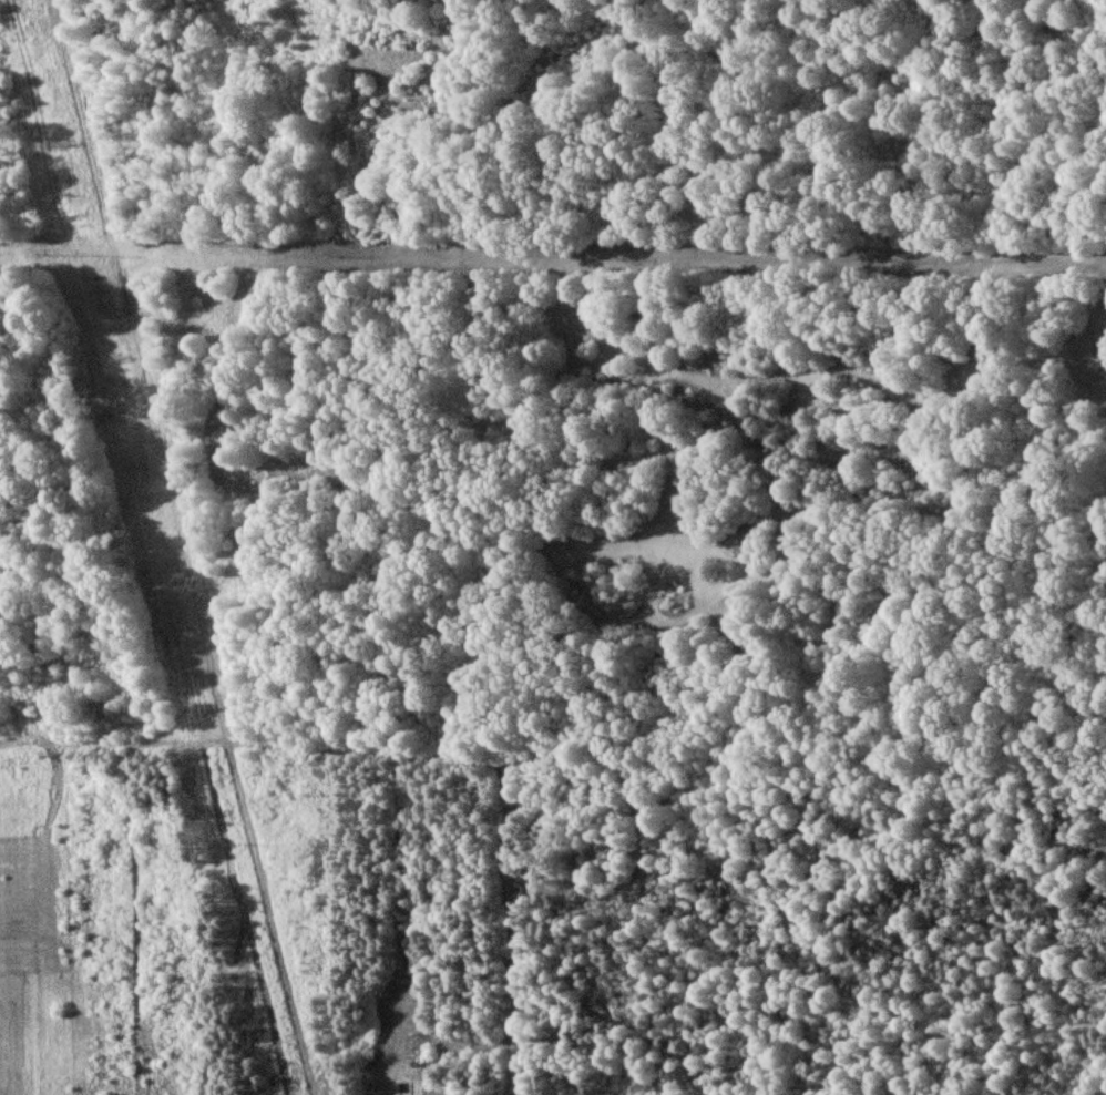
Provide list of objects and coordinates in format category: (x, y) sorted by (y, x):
building: (413, 1088)

